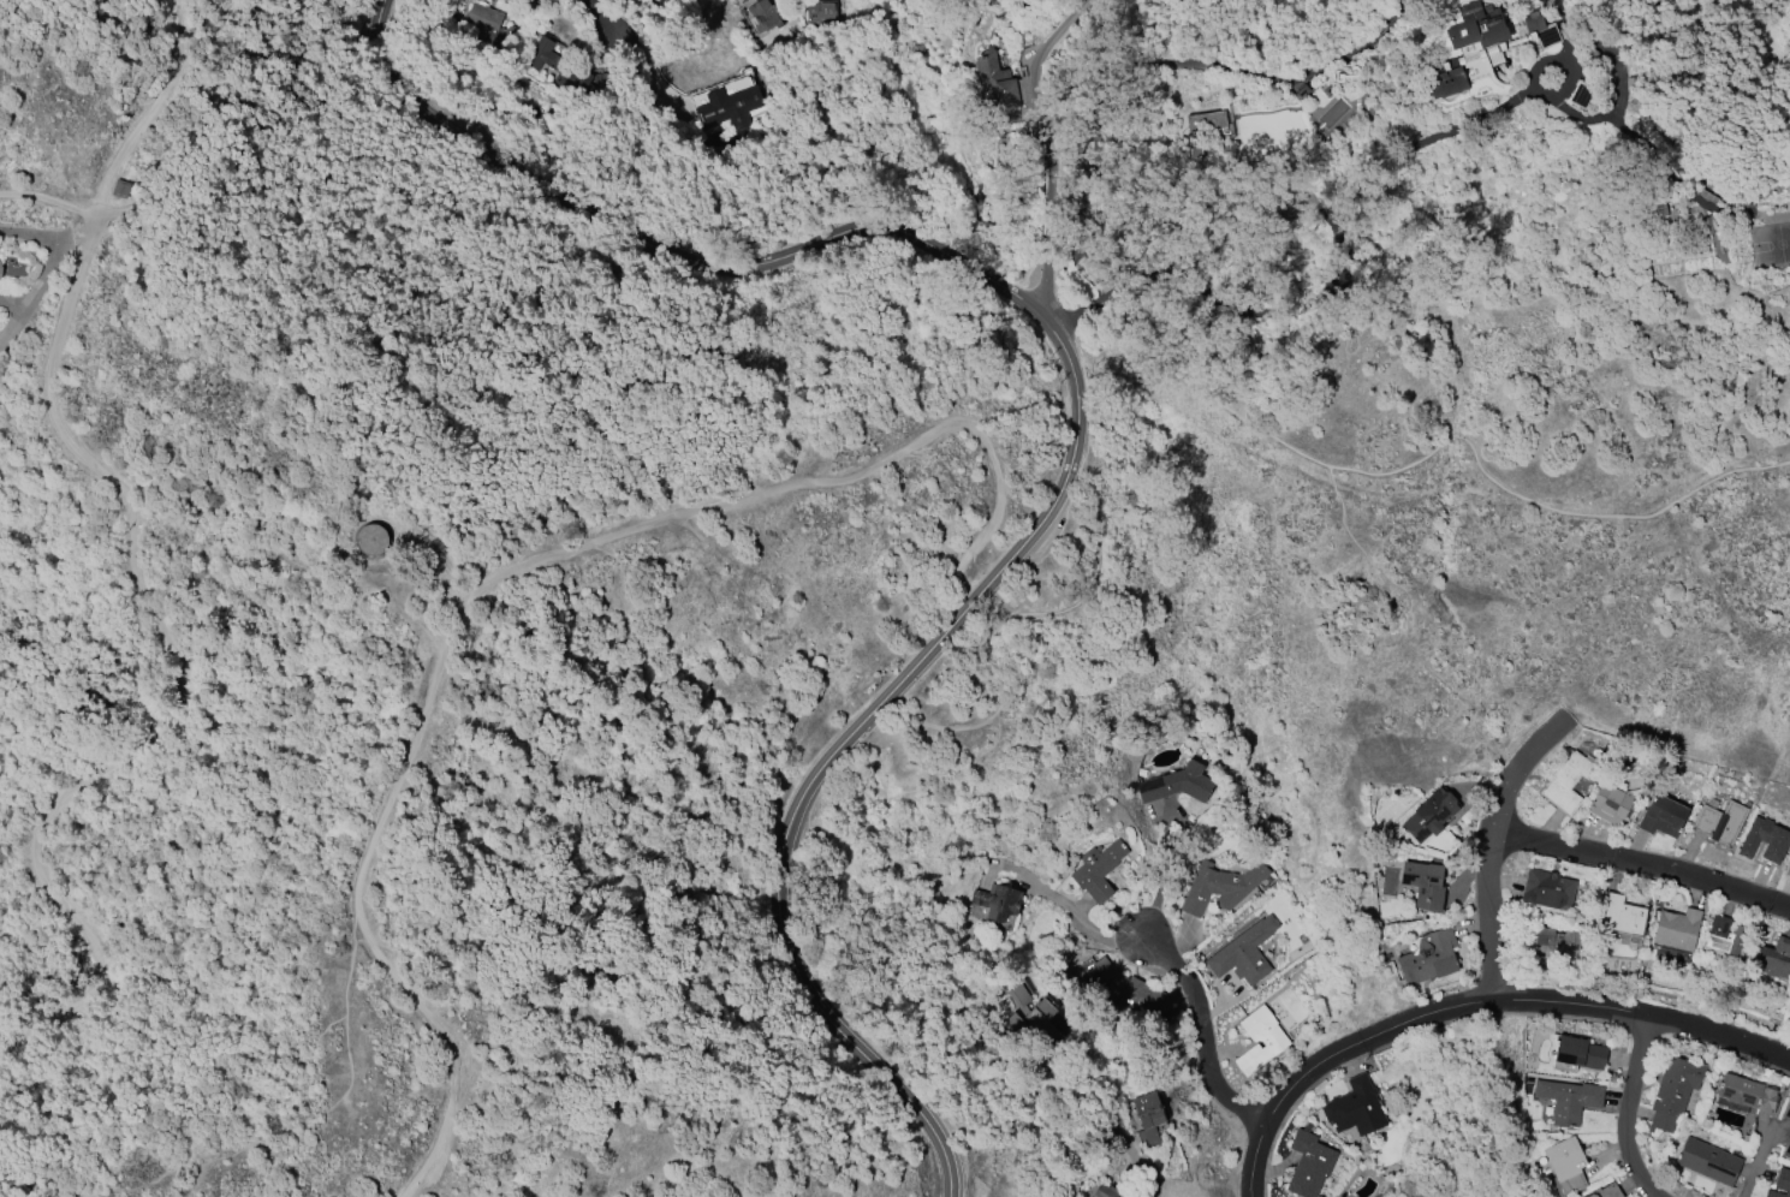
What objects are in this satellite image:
building: (531, 0)
building: (820, 11)
building: (763, 16)
road: (599, 17)
building: (483, 19)
road: (1055, 26)
building: (1540, 29)
building: (1480, 30)
building: (553, 62)
road: (654, 69)
road: (1136, 71)
building: (1449, 79)
building: (995, 83)
building: (1327, 89)
building: (1301, 93)
building: (729, 102)
road: (215, 109)
road: (148, 113)
building: (1207, 130)
road: (1051, 181)
building: (120, 189)
road: (48, 198)
road: (368, 203)
building: (1639, 212)
road: (76, 230)
road: (653, 245)
road: (1346, 260)
road: (52, 266)
building: (0, 269)
road: (405, 367)
road: (1111, 380)
road: (1235, 413)
building: (370, 540)
storage tank: (370, 540)
road: (509, 574)
road: (363, 578)
road: (948, 592)
road: (421, 619)
road: (167, 666)
road: (856, 737)
building: (1565, 782)
building: (1178, 784)
building: (1611, 803)
building: (1431, 815)
building: (1663, 816)
building: (1719, 822)
building: (1765, 840)
road: (1487, 848)
road: (1640, 865)
building: (1098, 870)
building: (1788, 870)
road: (1164, 877)
building: (1423, 883)
building: (1220, 886)
building: (1547, 889)
building: (998, 900)
building: (1623, 917)
road: (1088, 924)
building: (1676, 929)
building: (1726, 937)
building: (1554, 942)
building: (1243, 953)
building: (1428, 957)
building: (1773, 958)
building: (1019, 995)
building: (1137, 997)
road: (1473, 1005)
building: (1041, 1019)
road: (1200, 1029)
building: (1260, 1040)
building: (1577, 1054)
building: (1673, 1091)
building: (1747, 1092)
building: (1568, 1100)
building: (1354, 1107)
road: (1624, 1110)
road: (1086, 1113)
building: (1786, 1113)
building: (1148, 1118)
building: (1786, 1147)
building: (1708, 1161)
road: (1756, 1161)
building: (1566, 1163)
building: (1309, 1165)
building: (1780, 1184)
road: (126, 1190)
building: (1106, 1191)
building: (1605, 1191)

